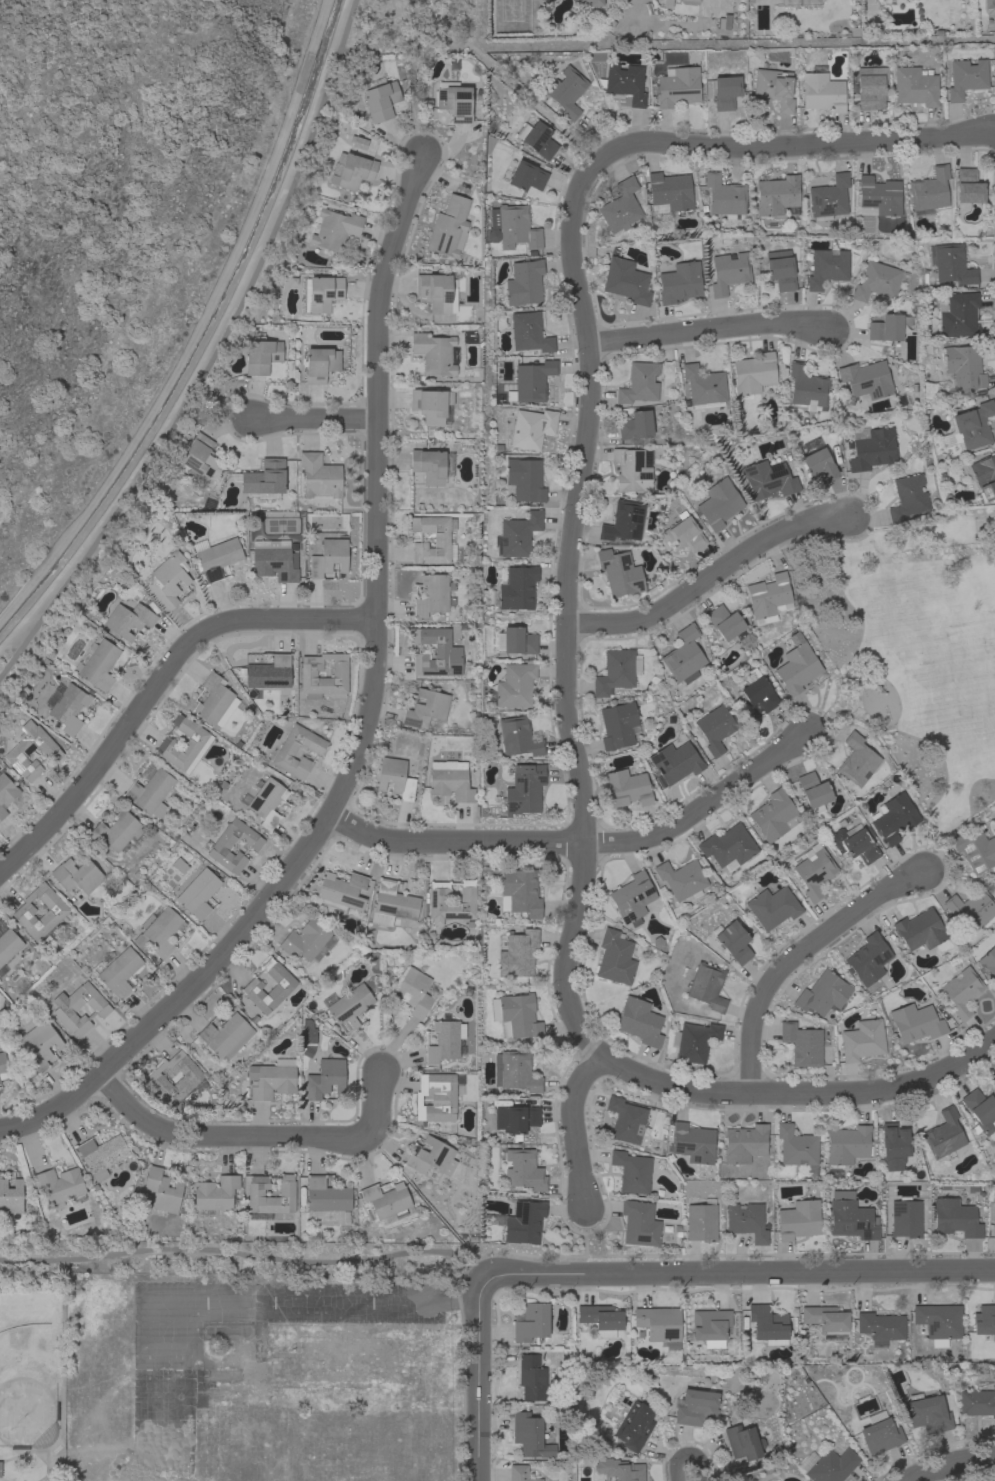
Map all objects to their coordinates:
building: (689, 2)
building: (595, 3)
building: (666, 3)
building: (989, 3)
building: (724, 22)
building: (710, 23)
building: (854, 28)
road: (482, 59)
building: (966, 77)
building: (624, 83)
building: (677, 86)
building: (773, 86)
building: (914, 87)
building: (869, 89)
building: (821, 90)
building: (566, 91)
building: (725, 92)
building: (379, 98)
building: (454, 100)
building: (536, 139)
road: (802, 147)
building: (354, 171)
building: (526, 176)
building: (967, 188)
building: (928, 191)
building: (669, 192)
building: (776, 194)
building: (879, 195)
building: (724, 196)
building: (829, 197)
building: (620, 206)
building: (449, 226)
building: (512, 227)
building: (334, 229)
building: (951, 265)
building: (826, 267)
building: (728, 272)
building: (781, 273)
building: (625, 281)
building: (878, 281)
building: (523, 282)
building: (679, 282)
building: (436, 292)
building: (320, 293)
building: (957, 314)
building: (888, 326)
road: (707, 331)
building: (528, 332)
building: (434, 353)
road: (211, 354)
building: (261, 354)
building: (319, 364)
building: (964, 367)
building: (753, 373)
building: (866, 379)
building: (532, 380)
building: (639, 383)
building: (703, 386)
building: (806, 386)
building: (431, 405)
road: (312, 417)
building: (635, 425)
building: (969, 426)
building: (531, 428)
building: (871, 448)
building: (198, 458)
building: (817, 460)
building: (431, 465)
building: (632, 469)
building: (319, 475)
building: (981, 475)
building: (264, 479)
building: (524, 479)
building: (768, 479)
building: (907, 497)
building: (718, 503)
building: (623, 521)
building: (683, 532)
building: (516, 534)
building: (441, 537)
building: (216, 556)
building: (328, 557)
building: (273, 560)
building: (619, 572)
building: (167, 579)
road: (709, 580)
building: (517, 588)
building: (433, 594)
building: (768, 598)
building: (128, 620)
building: (724, 623)
building: (514, 640)
park: (914, 649)
building: (435, 652)
building: (684, 655)
building: (97, 663)
building: (797, 668)
building: (616, 671)
building: (269, 672)
building: (308, 673)
road: (155, 683)
building: (515, 684)
building: (758, 692)
building: (214, 700)
building: (66, 706)
building: (426, 708)
road: (367, 717)
building: (618, 725)
building: (715, 727)
building: (515, 735)
building: (184, 744)
building: (286, 749)
building: (29, 750)
building: (857, 760)
building: (674, 763)
building: (395, 777)
building: (450, 780)
building: (626, 788)
building: (6, 789)
building: (524, 789)
building: (150, 790)
building: (813, 792)
building: (121, 794)
building: (264, 800)
road: (584, 803)
road: (702, 807)
building: (2, 812)
building: (774, 815)
building: (894, 817)
building: (116, 830)
road: (453, 839)
building: (222, 843)
building: (854, 843)
building: (728, 847)
building: (975, 849)
building: (814, 870)
building: (77, 875)
building: (681, 878)
building: (341, 891)
building: (519, 892)
building: (197, 893)
building: (632, 898)
building: (436, 899)
building: (392, 903)
building: (772, 907)
building: (973, 910)
building: (56, 913)
building: (920, 929)
building: (159, 930)
building: (308, 939)
building: (732, 941)
building: (7, 945)
building: (516, 953)
road: (793, 955)
building: (615, 957)
building: (868, 958)
building: (988, 960)
building: (117, 972)
building: (282, 985)
building: (707, 986)
building: (962, 991)
building: (414, 992)
building: (822, 993)
building: (347, 1006)
building: (63, 1010)
building: (515, 1015)
building: (639, 1021)
building: (915, 1022)
building: (308, 1033)
building: (225, 1036)
building: (862, 1040)
building: (445, 1041)
building: (693, 1041)
building: (802, 1042)
building: (38, 1044)
building: (3, 1066)
building: (514, 1071)
building: (324, 1078)
building: (189, 1079)
building: (271, 1079)
building: (994, 1079)
building: (447, 1100)
building: (979, 1111)
building: (515, 1119)
building: (625, 1120)
road: (575, 1128)
building: (943, 1134)
road: (256, 1136)
building: (693, 1142)
building: (894, 1142)
building: (744, 1143)
building: (847, 1144)
building: (797, 1149)
building: (101, 1155)
building: (430, 1156)
building: (521, 1169)
building: (632, 1171)
building: (60, 1185)
building: (162, 1190)
building: (286, 1193)
building: (214, 1194)
building: (326, 1195)
building: (10, 1196)
building: (387, 1201)
building: (955, 1217)
building: (905, 1218)
building: (851, 1219)
building: (798, 1220)
building: (520, 1221)
building: (701, 1221)
building: (746, 1221)
building: (639, 1223)
building: (993, 1231)
road: (251, 1254)
road: (734, 1276)
building: (601, 1319)
building: (826, 1320)
building: (939, 1320)
building: (984, 1320)
building: (530, 1322)
building: (767, 1324)
building: (660, 1325)
building: (710, 1326)
building: (880, 1327)
building: (347, 1359)
building: (223, 1372)
building: (532, 1377)
park: (229, 1382)
park: (27, 1385)
building: (244, 1385)
road: (479, 1388)
building: (978, 1400)
building: (694, 1406)
building: (929, 1414)
building: (634, 1425)
building: (879, 1433)
building: (529, 1435)
building: (743, 1442)
road: (15, 1455)
building: (827, 1465)
road: (947, 1465)
building: (618, 1470)
building: (520, 1473)
road: (687, 1478)
road: (1, 1479)

